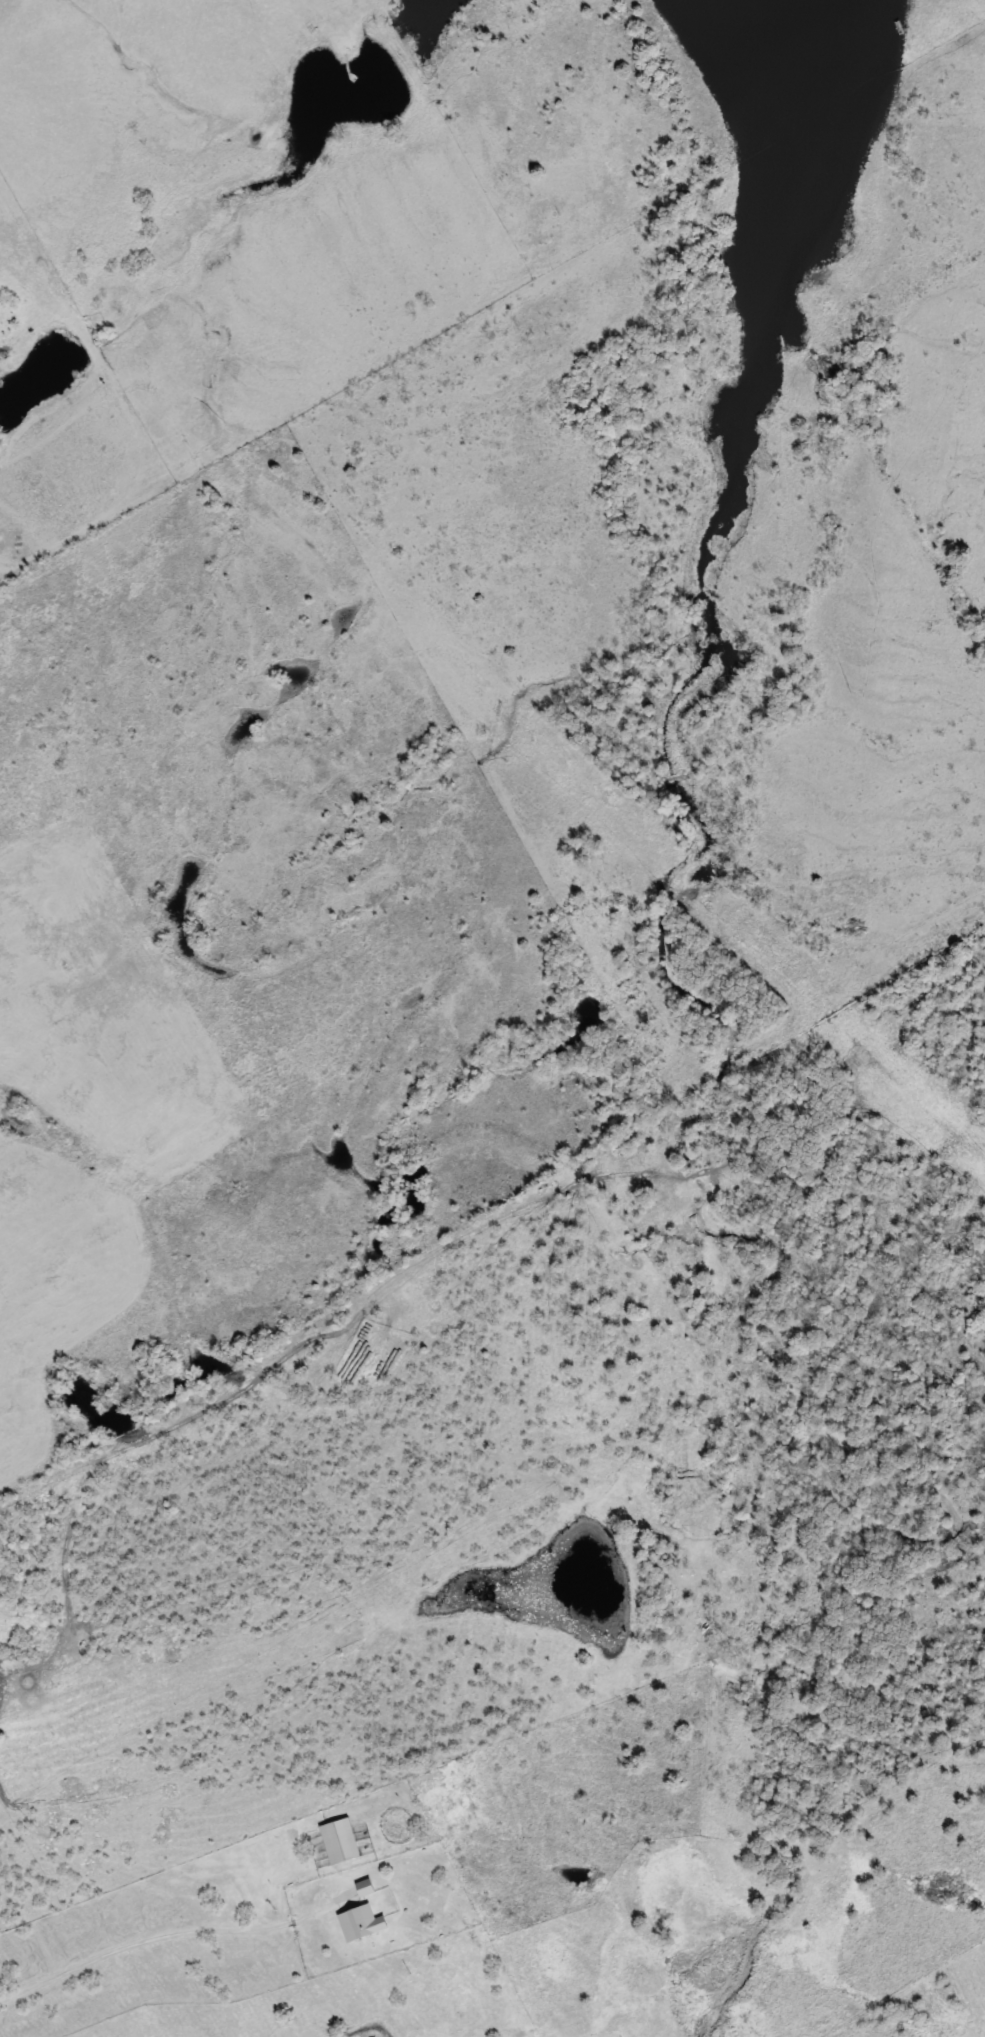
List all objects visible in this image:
building: (339, 1840)
building: (364, 1887)
building: (359, 1922)
road: (151, 1941)

